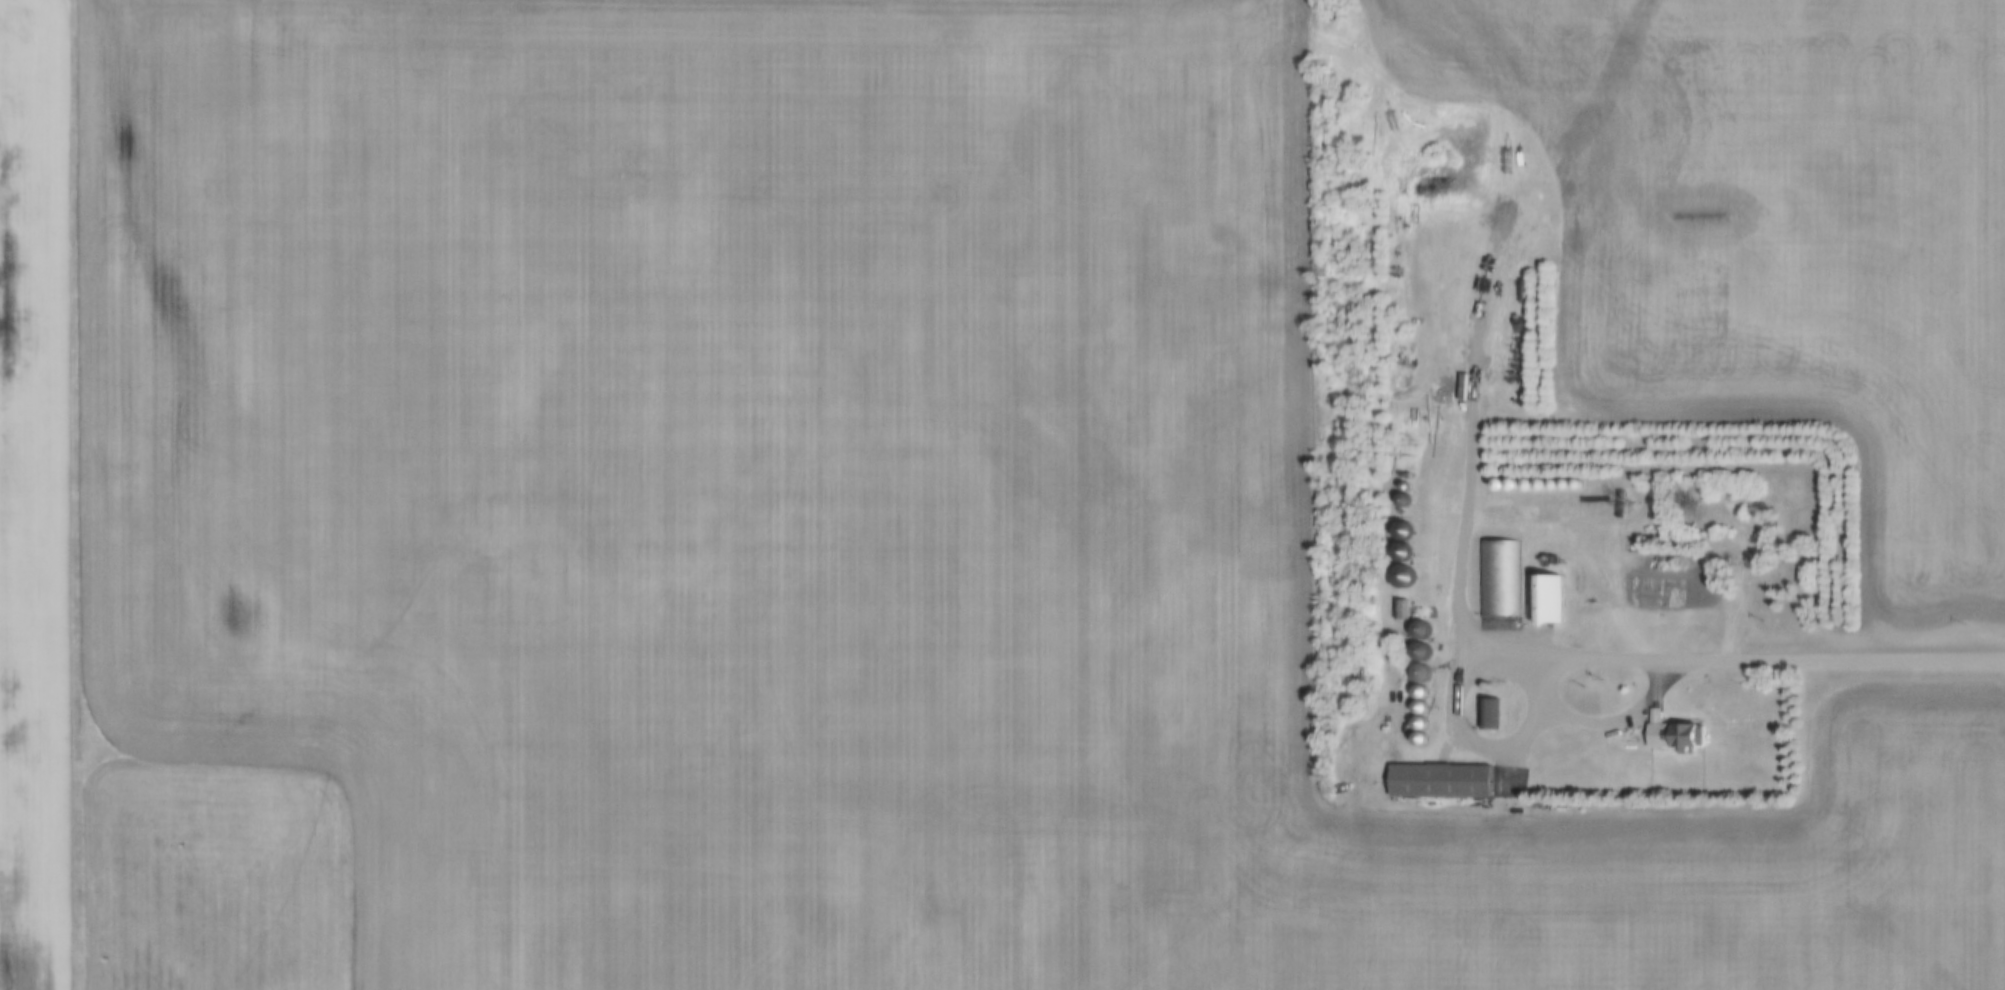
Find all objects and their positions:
building: (1595, 104)
silo: (1595, 104)
road: (1469, 466)
building: (1569, 480)
silo: (1569, 480)
building: (1581, 480)
silo: (1581, 480)
building: (1509, 481)
silo: (1509, 481)
building: (1523, 481)
silo: (1523, 481)
building: (1558, 481)
silo: (1558, 481)
building: (1410, 482)
silo: (1410, 482)
building: (1408, 496)
silo: (1408, 496)
building: (1408, 526)
silo: (1408, 526)
building: (1408, 548)
silo: (1408, 548)
building: (1448, 562)
building: (1407, 573)
silo: (1407, 573)
building: (1506, 573)
building: (1552, 594)
building: (1406, 605)
building: (1398, 610)
building: (1425, 626)
silo: (1425, 626)
building: (1425, 647)
silo: (1425, 647)
road: (1847, 660)
building: (1425, 668)
silo: (1425, 668)
building: (1491, 682)
silo: (1491, 682)
building: (1425, 688)
silo: (1425, 688)
building: (1425, 703)
silo: (1425, 703)
building: (1497, 711)
building: (1425, 719)
silo: (1425, 719)
road: (1449, 720)
building: (1678, 729)
building: (1425, 735)
silo: (1425, 735)
building: (1446, 776)

